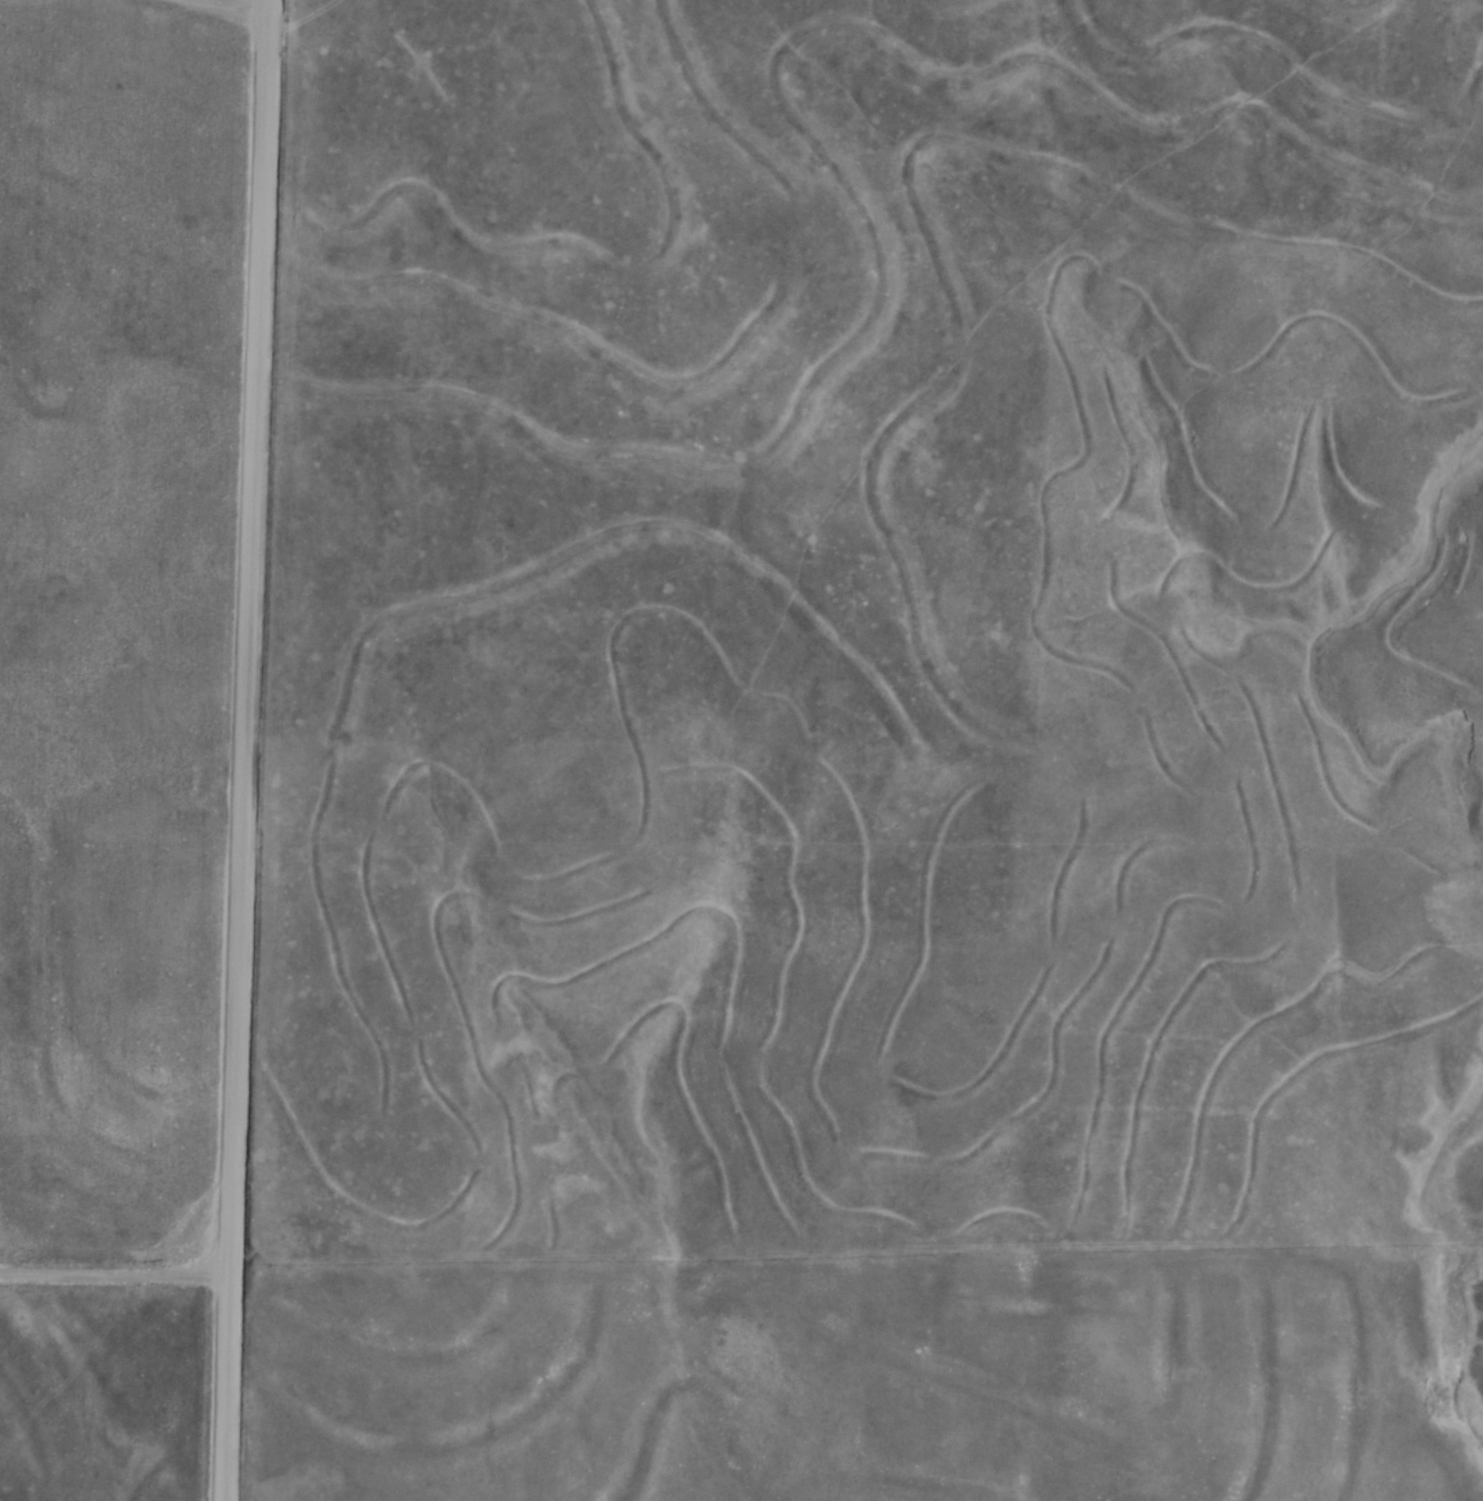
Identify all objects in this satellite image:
road: (257, 2)
road: (248, 750)
road: (116, 1272)

